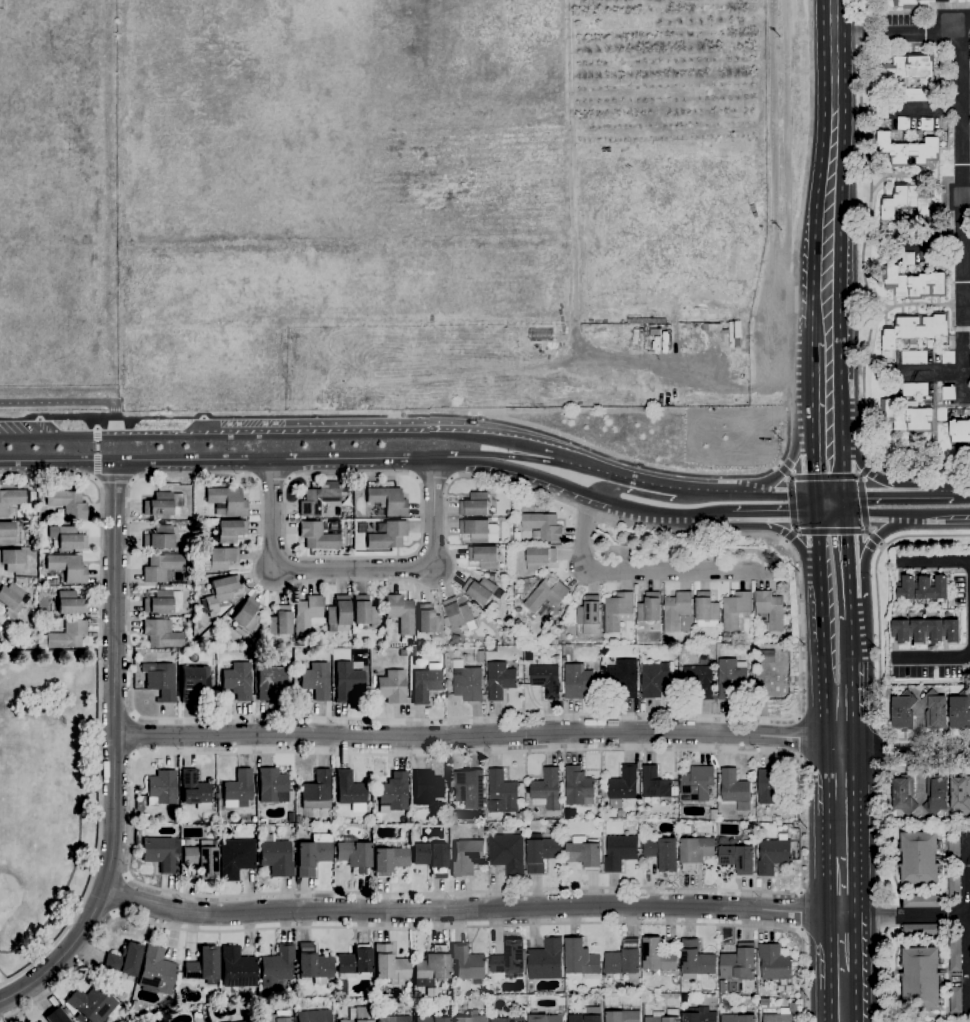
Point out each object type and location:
building: (905, 4)
road: (944, 12)
road: (868, 15)
road: (903, 33)
road: (858, 34)
building: (908, 69)
building: (914, 94)
road: (932, 109)
building: (903, 123)
building: (926, 124)
road: (965, 134)
road: (831, 150)
building: (909, 150)
road: (961, 167)
crop: (434, 203)
park: (401, 204)
building: (904, 205)
building: (885, 237)
road: (779, 259)
building: (907, 259)
building: (914, 283)
road: (782, 299)
road: (884, 305)
road: (966, 319)
road: (825, 322)
building: (705, 327)
building: (915, 330)
building: (936, 348)
building: (947, 356)
building: (914, 357)
road: (961, 361)
building: (886, 370)
road: (933, 374)
road: (826, 387)
building: (915, 390)
building: (948, 393)
road: (72, 404)
road: (424, 415)
building: (907, 416)
road: (96, 423)
building: (960, 431)
road: (365, 432)
road: (48, 435)
road: (793, 450)
road: (96, 453)
road: (518, 458)
road: (843, 458)
road: (820, 461)
road: (235, 462)
road: (403, 472)
road: (432, 476)
road: (94, 478)
road: (111, 478)
road: (130, 479)
road: (875, 479)
road: (649, 485)
road: (608, 488)
road: (705, 490)
road: (961, 490)
road: (865, 491)
road: (934, 491)
road: (777, 492)
building: (30, 494)
building: (11, 499)
building: (225, 499)
building: (320, 500)
building: (387, 500)
building: (67, 502)
road: (601, 502)
building: (163, 503)
building: (475, 505)
road: (815, 506)
road: (844, 506)
road: (776, 520)
road: (829, 520)
road: (907, 520)
building: (543, 527)
building: (230, 530)
building: (479, 531)
building: (10, 533)
road: (717, 534)
building: (318, 535)
building: (388, 535)
building: (67, 536)
building: (159, 537)
road: (792, 540)
road: (870, 547)
road: (846, 556)
building: (221, 557)
building: (484, 557)
road: (816, 557)
building: (12, 559)
building: (539, 559)
road: (934, 562)
building: (161, 566)
building: (68, 567)
road: (355, 568)
road: (635, 574)
building: (922, 588)
building: (939, 588)
building: (905, 589)
building: (481, 590)
building: (220, 593)
building: (11, 595)
building: (546, 595)
building: (163, 601)
building: (70, 602)
building: (649, 608)
building: (363, 610)
building: (676, 610)
building: (706, 610)
building: (769, 610)
building: (618, 611)
building: (736, 611)
building: (231, 612)
building: (338, 612)
building: (401, 613)
building: (458, 613)
building: (9, 614)
building: (307, 614)
building: (590, 615)
building: (245, 616)
building: (280, 620)
road: (819, 620)
building: (428, 621)
building: (918, 630)
building: (951, 630)
building: (902, 631)
building: (935, 631)
building: (161, 634)
building: (507, 634)
building: (67, 635)
building: (726, 636)
building: (788, 636)
road: (877, 638)
building: (419, 642)
building: (403, 652)
building: (412, 652)
building: (767, 656)
road: (931, 658)
building: (564, 660)
road: (821, 665)
road: (852, 665)
building: (624, 677)
building: (731, 677)
building: (161, 680)
building: (238, 680)
building: (316, 680)
building: (500, 680)
building: (546, 680)
building: (700, 680)
building: (270, 681)
building: (347, 681)
building: (577, 681)
building: (654, 681)
building: (426, 682)
building: (194, 683)
building: (392, 685)
building: (468, 685)
road: (100, 701)
building: (935, 709)
building: (903, 710)
road: (829, 711)
building: (960, 712)
road: (135, 735)
road: (475, 735)
road: (796, 737)
road: (113, 754)
road: (904, 757)
road: (838, 769)
road: (797, 770)
building: (698, 783)
building: (656, 784)
building: (272, 785)
building: (623, 786)
building: (771, 786)
building: (579, 787)
building: (161, 788)
building: (427, 788)
building: (469, 788)
building: (195, 789)
building: (316, 790)
building: (350, 790)
building: (547, 790)
building: (735, 790)
building: (236, 791)
building: (394, 791)
building: (503, 793)
building: (960, 794)
building: (936, 796)
building: (903, 797)
building: (146, 815)
building: (713, 815)
building: (290, 816)
building: (298, 818)
building: (548, 823)
building: (751, 827)
building: (182, 842)
building: (954, 850)
building: (541, 852)
building: (620, 852)
building: (695, 852)
road: (877, 852)
building: (159, 853)
building: (353, 853)
building: (584, 853)
building: (662, 853)
building: (507, 854)
building: (774, 855)
building: (275, 856)
building: (311, 856)
building: (235, 857)
building: (431, 857)
building: (467, 857)
road: (838, 857)
building: (202, 858)
building: (919, 858)
building: (389, 859)
building: (738, 859)
building: (954, 884)
road: (123, 895)
building: (921, 902)
road: (469, 909)
road: (798, 912)
road: (903, 914)
road: (421, 926)
road: (969, 927)
building: (922, 930)
building: (364, 937)
building: (955, 952)
building: (657, 956)
building: (580, 958)
building: (124, 959)
building: (510, 959)
building: (624, 959)
building: (546, 960)
building: (697, 960)
building: (354, 962)
building: (739, 963)
building: (775, 963)
building: (314, 964)
building: (389, 964)
building: (468, 964)
building: (203, 965)
building: (431, 967)
building: (237, 968)
building: (276, 968)
road: (838, 968)
building: (156, 971)
building: (921, 979)
building: (290, 992)
building: (431, 994)
building: (409, 995)
building: (955, 1000)
building: (764, 1002)
building: (92, 1003)
building: (134, 1004)
building: (358, 1014)
building: (658, 1014)
building: (313, 1015)
building: (699, 1015)
building: (56, 1016)
building: (623, 1016)
building: (274, 1017)
building: (393, 1018)
building: (545, 1018)
building: (583, 1018)
building: (739, 1018)
building: (778, 1018)
building: (430, 1019)
building: (470, 1019)
building: (245, 1020)
building: (508, 1020)

